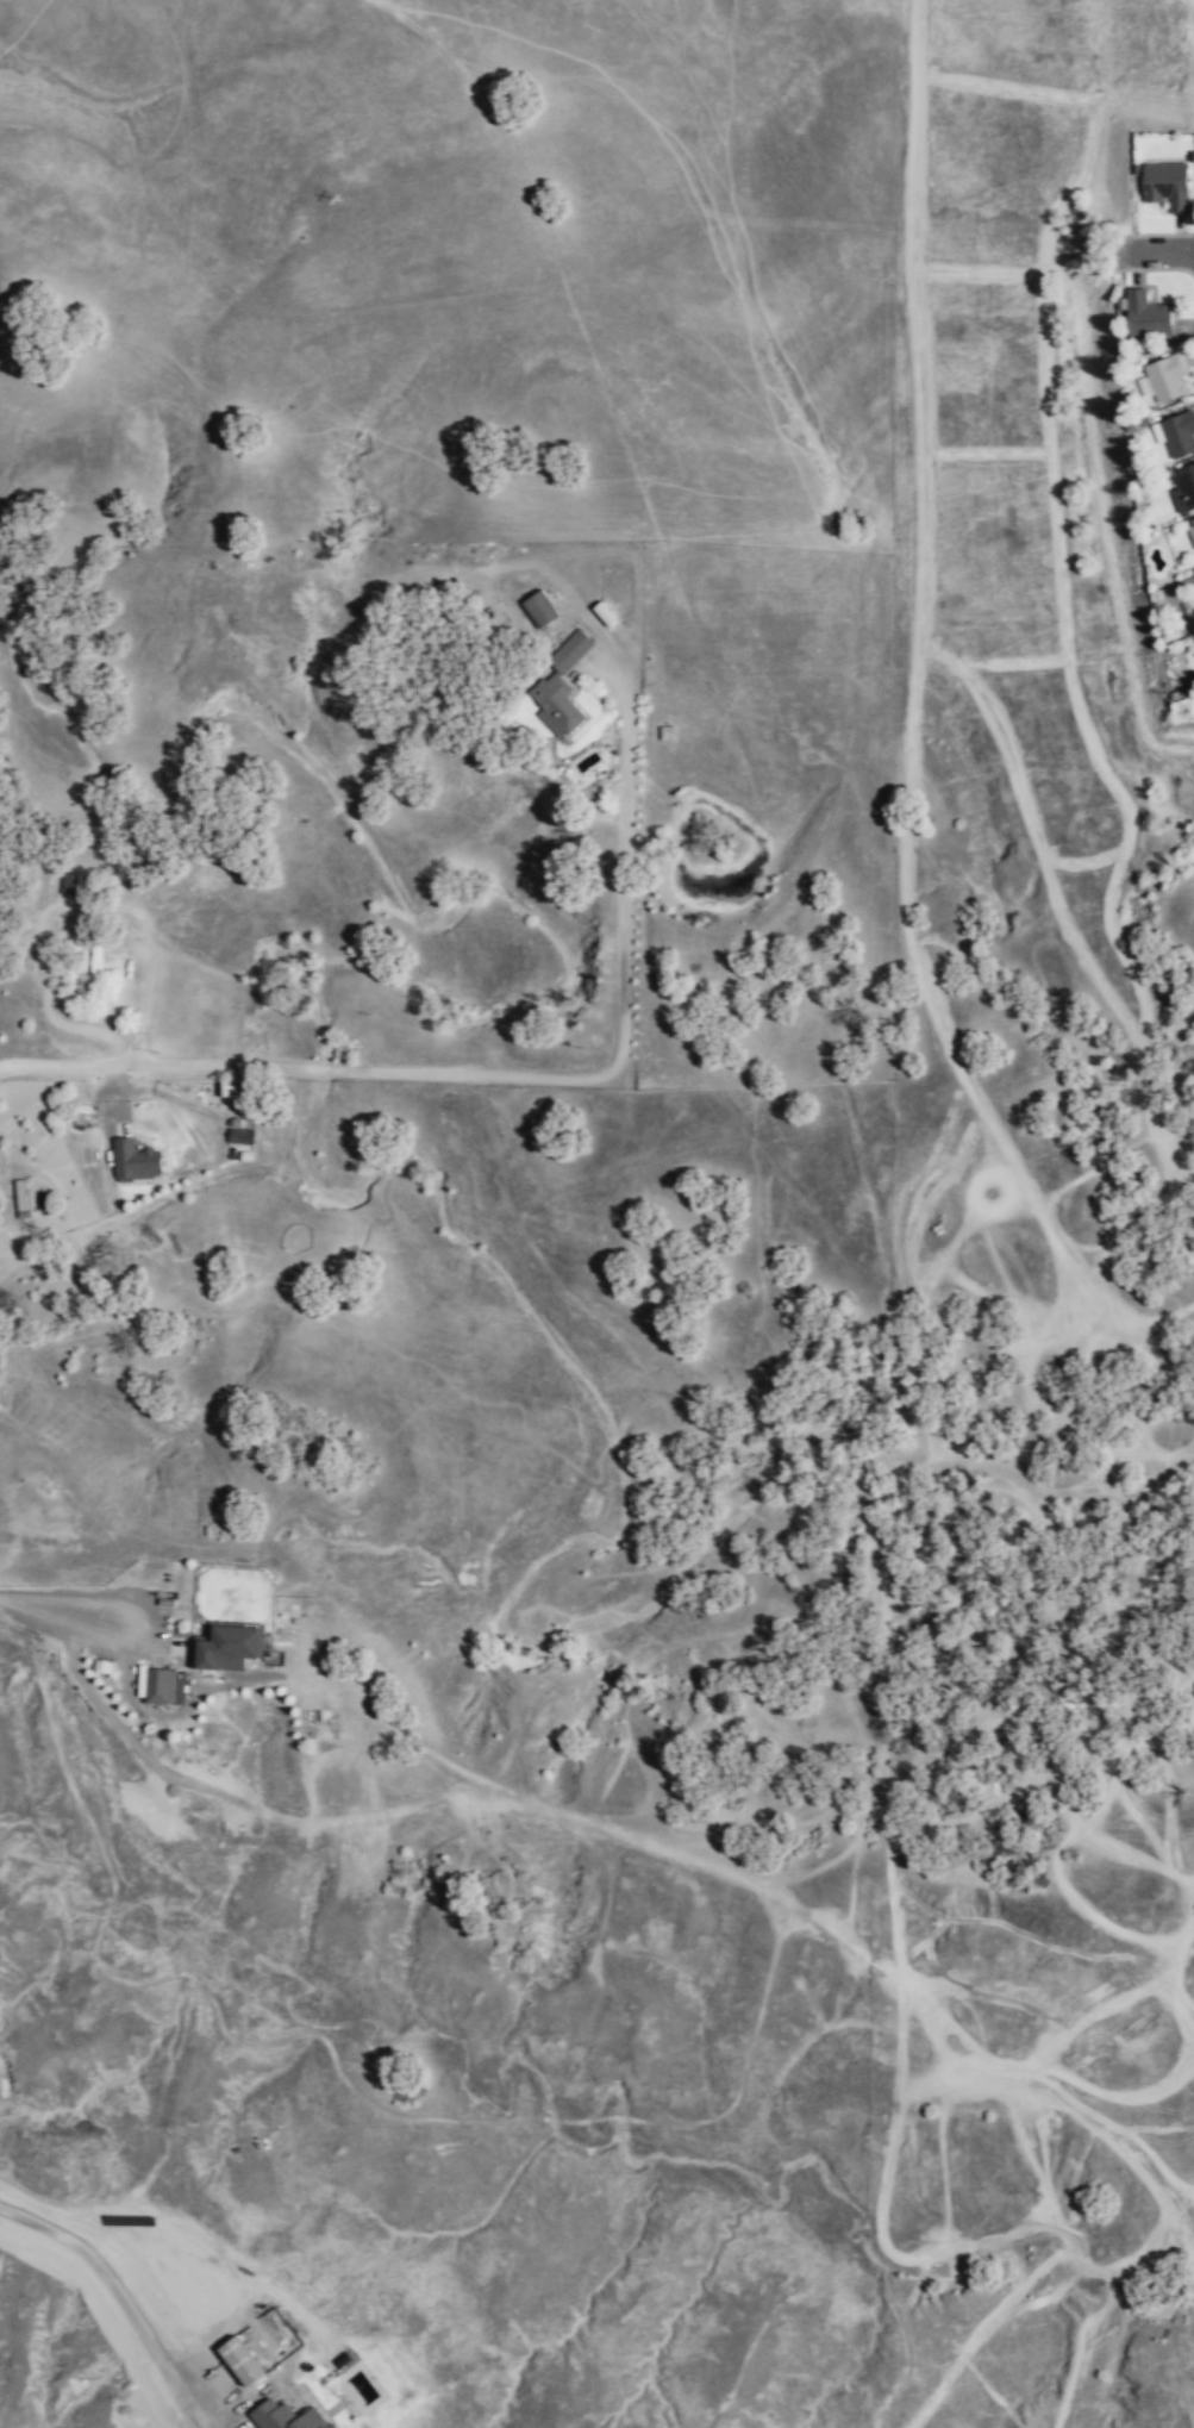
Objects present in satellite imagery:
building: (1167, 186)
road: (1161, 256)
building: (1148, 316)
building: (1164, 379)
building: (1176, 433)
building: (1183, 488)
building: (1190, 531)
building: (539, 608)
building: (561, 686)
building: (70, 884)
building: (90, 974)
road: (511, 1078)
building: (240, 1136)
building: (135, 1161)
building: (20, 1194)
road: (70, 1599)
building: (226, 1648)
building: (164, 1687)
road: (119, 2296)
building: (242, 2361)
building: (289, 2416)

